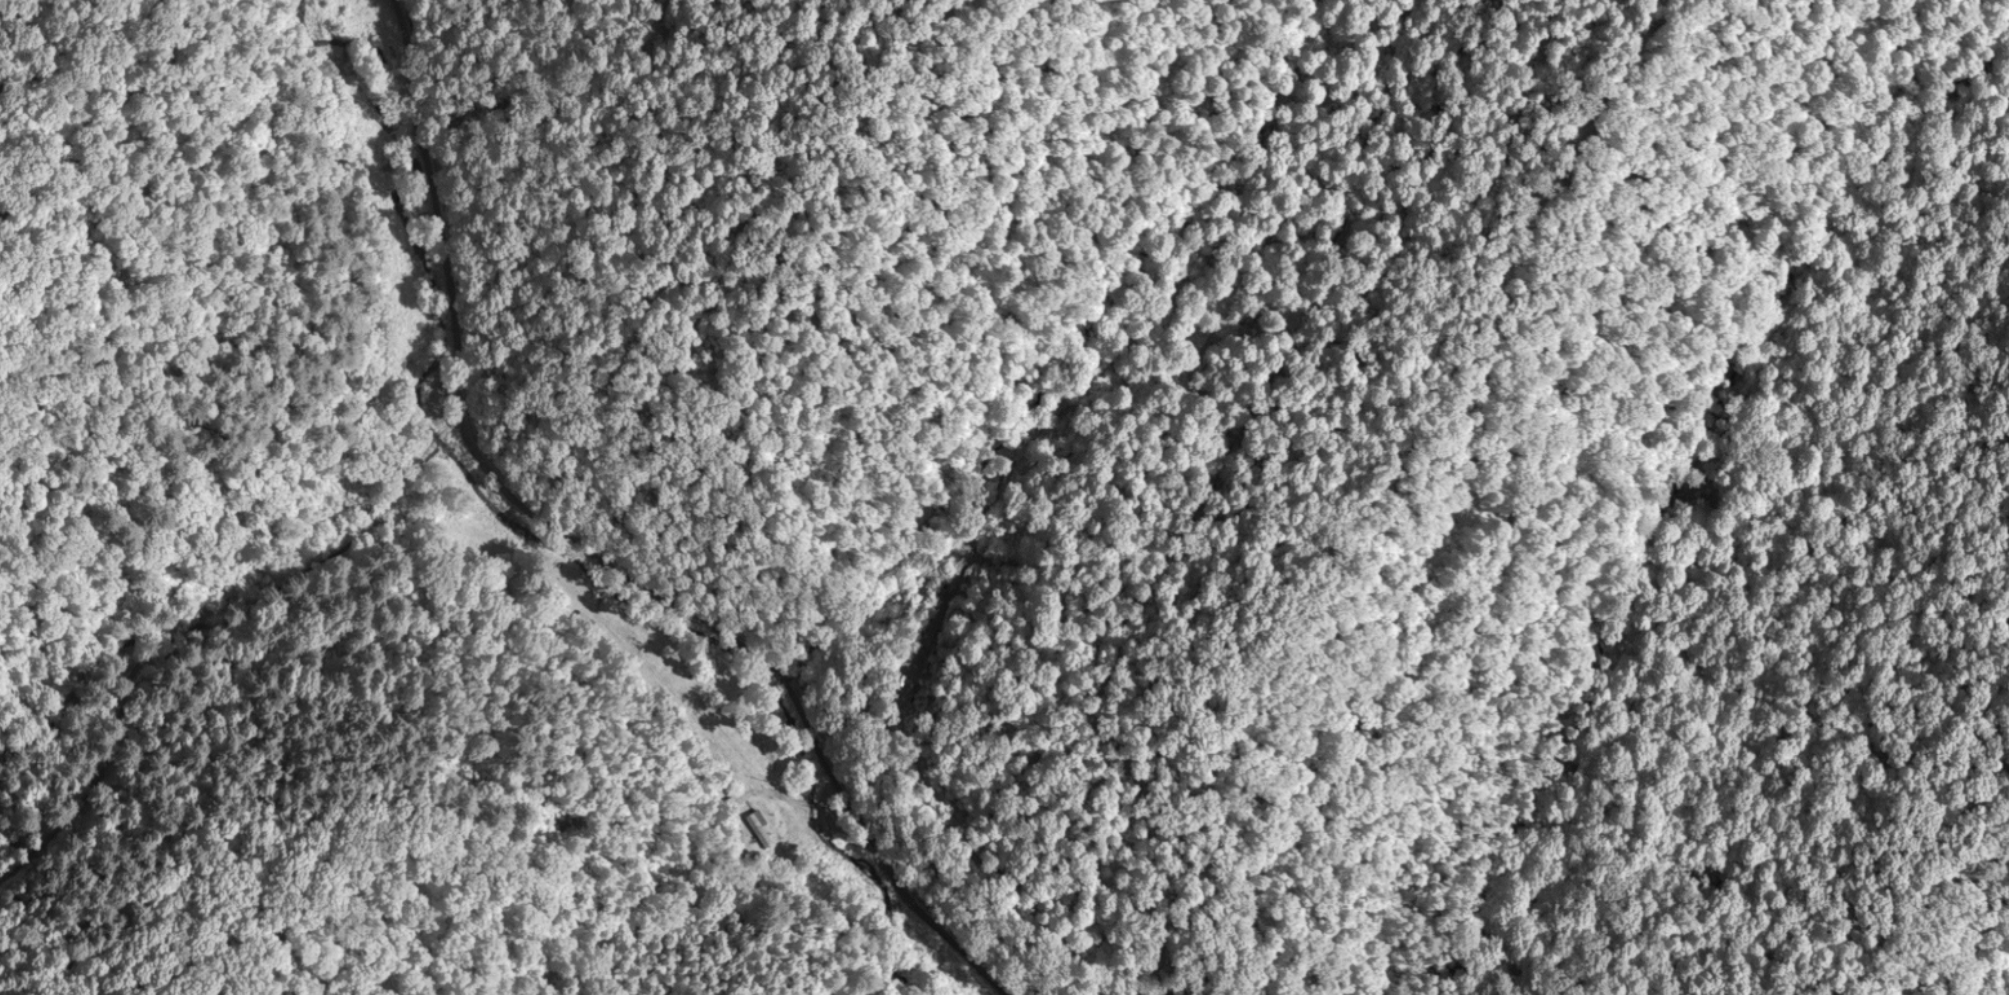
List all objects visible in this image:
road: (598, 550)

